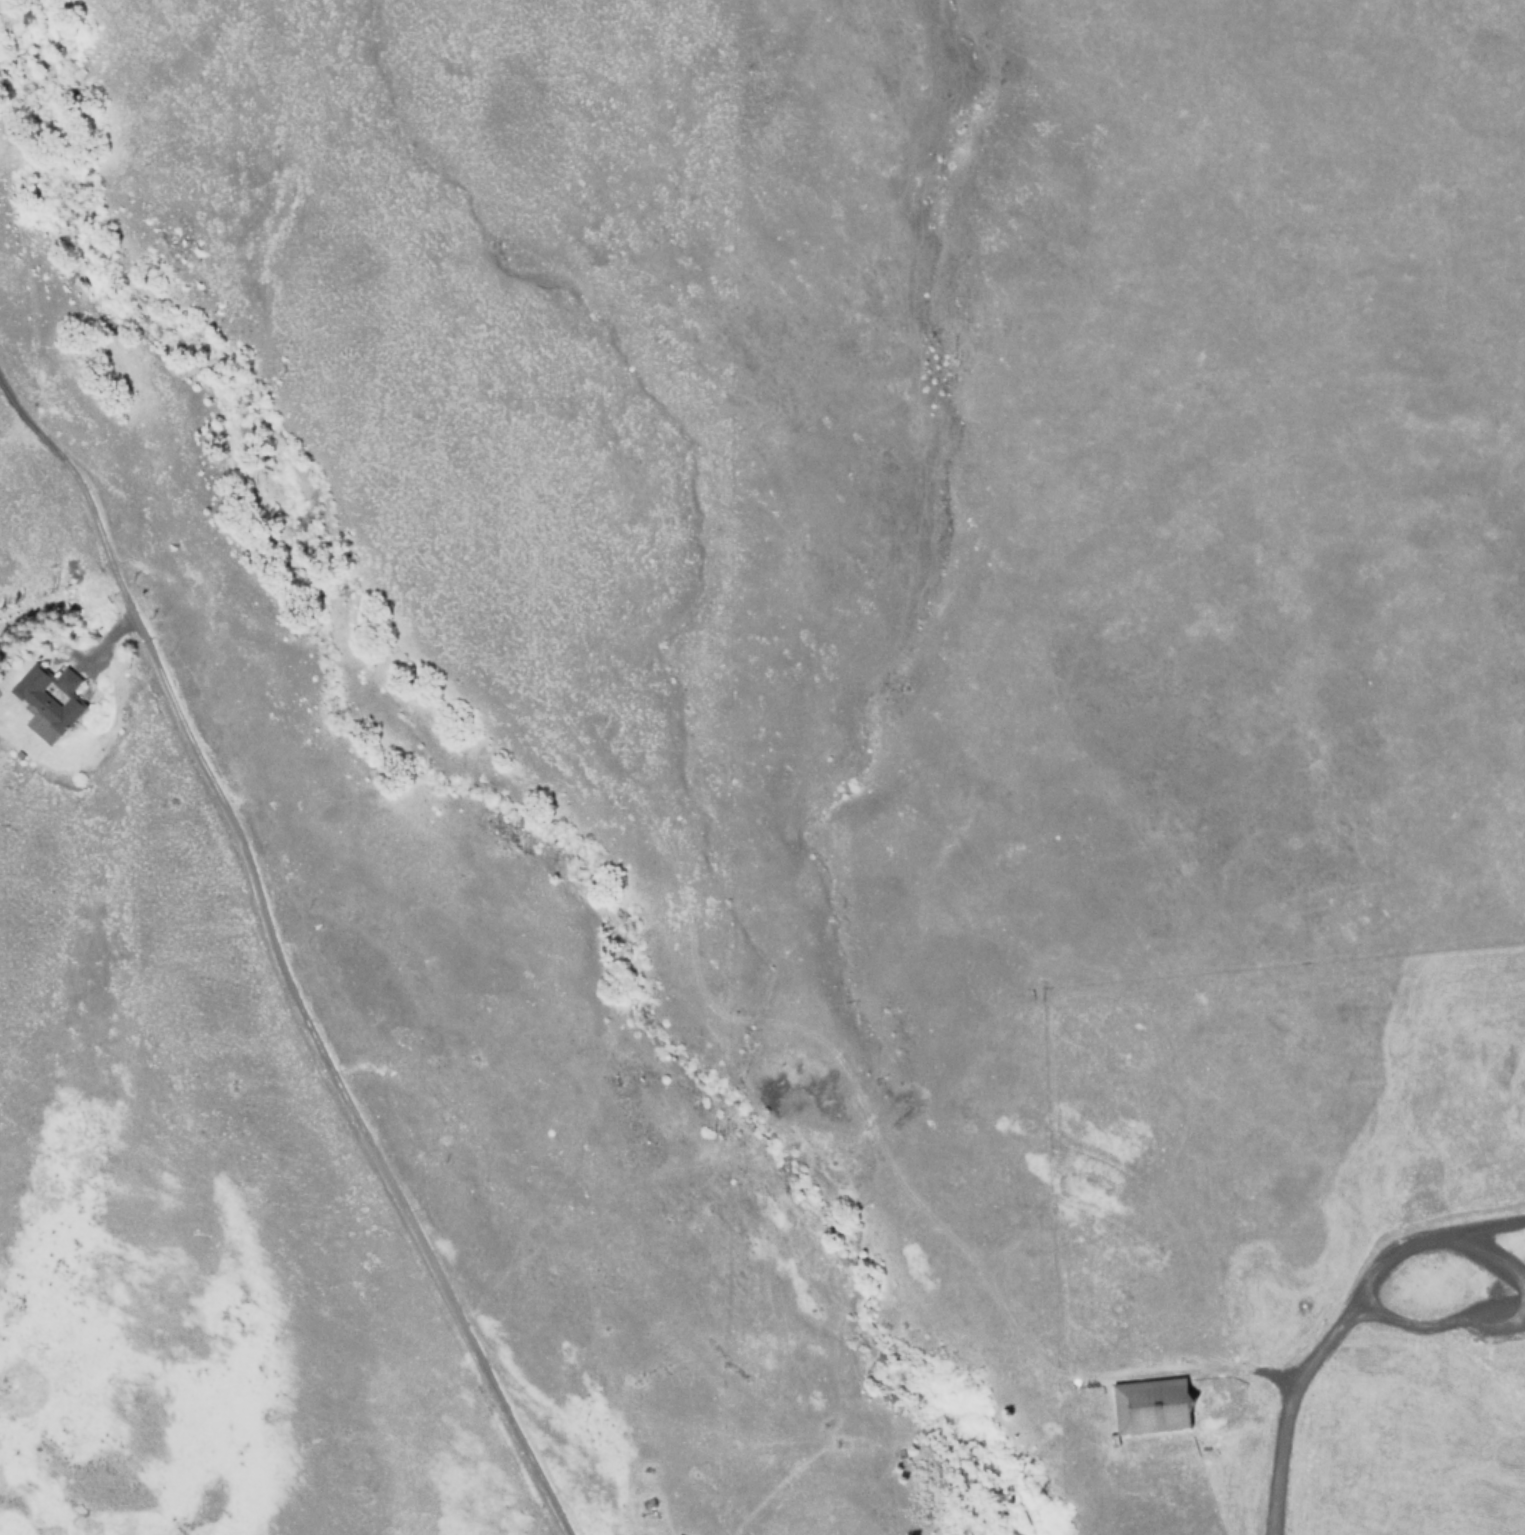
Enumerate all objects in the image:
road: (101, 645)
building: (52, 695)
road: (279, 958)
road: (1417, 1239)
road: (1483, 1250)
parking lot: (1508, 1276)
road: (1433, 1321)
road: (1180, 1367)
building: (1151, 1403)
road: (1285, 1417)
road: (1498, 1448)

